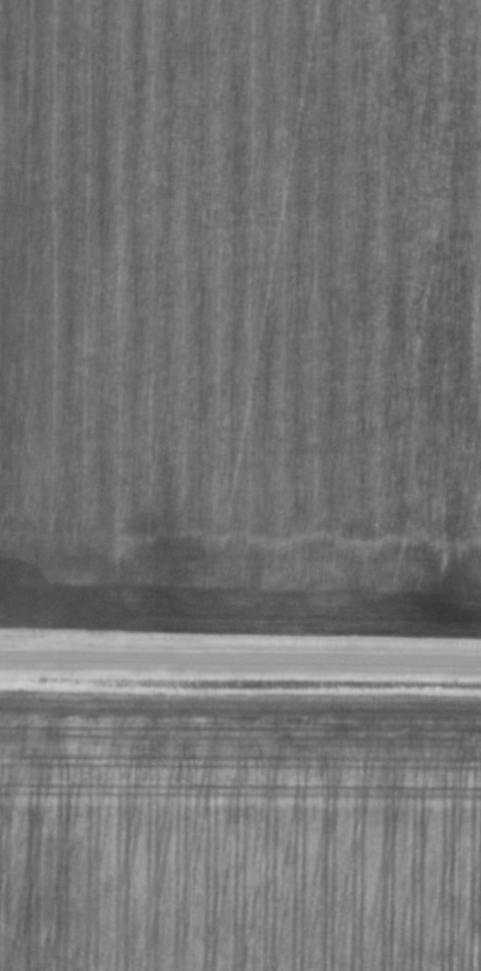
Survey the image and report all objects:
road: (240, 656)

